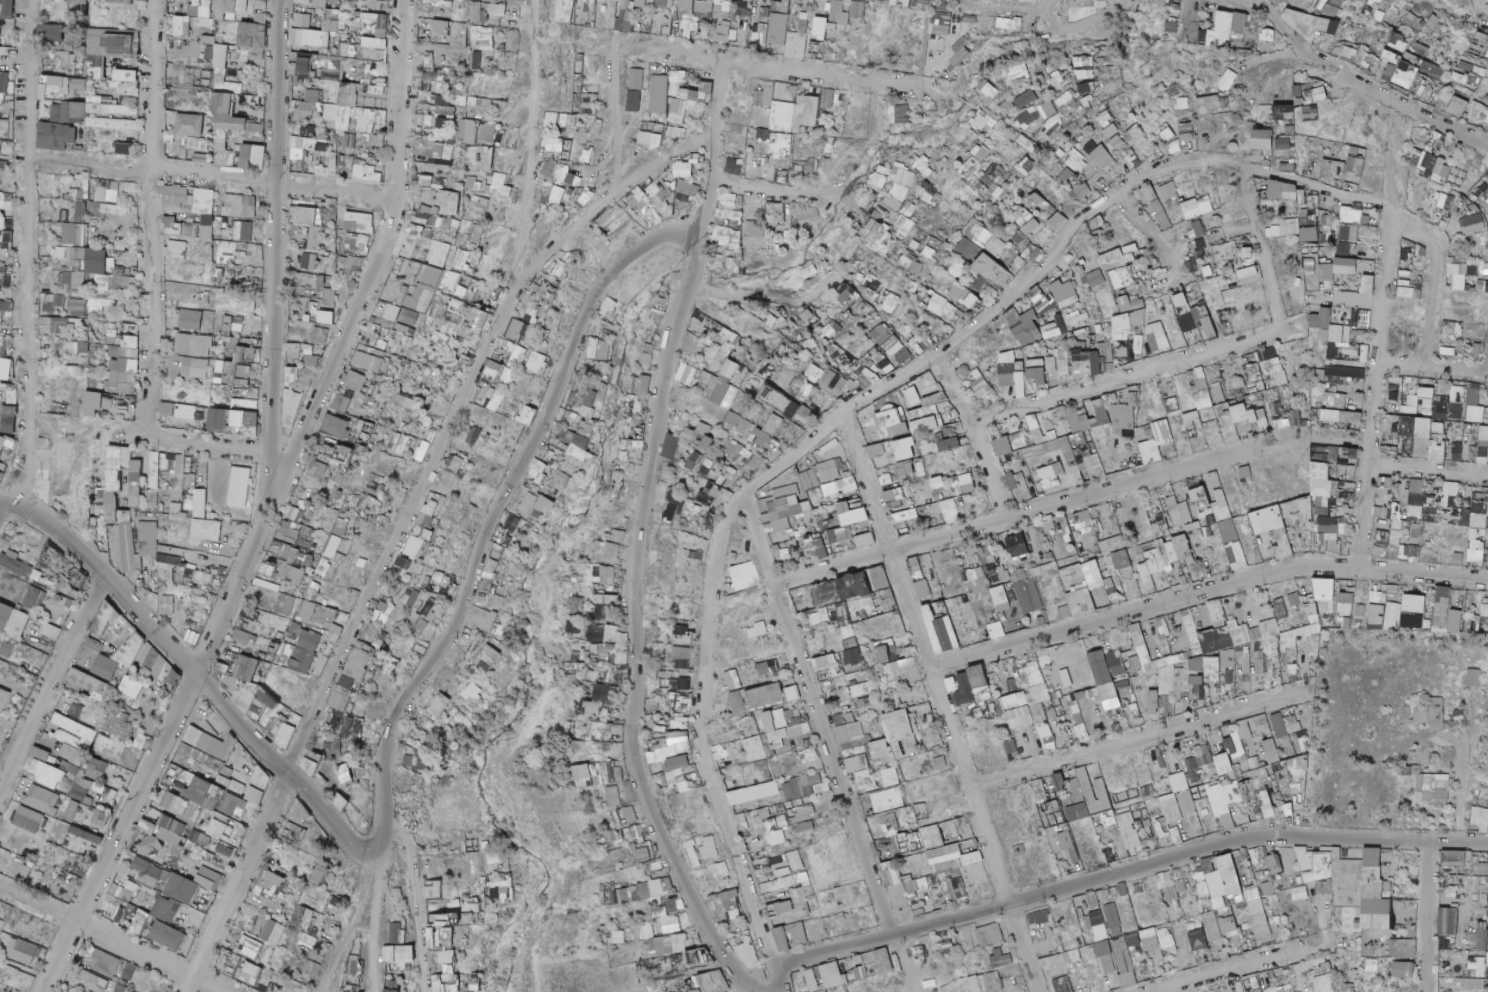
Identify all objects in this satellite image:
building: (642, 0)
building: (750, 0)
road: (1189, 0)
building: (122, 1)
building: (336, 1)
road: (1057, 1)
building: (1285, 2)
building: (1374, 2)
building: (446, 3)
building: (660, 3)
building: (322, 4)
building: (685, 4)
building: (1336, 4)
building: (372, 5)
building: (1395, 5)
building: (783, 6)
building: (200, 8)
building: (225, 8)
building: (703, 8)
building: (6, 9)
building: (497, 9)
building: (742, 10)
building: (859, 10)
building: (565, 11)
building: (480, 13)
building: (1377, 16)
building: (302, 17)
building: (624, 18)
building: (968, 19)
building: (1408, 19)
building: (833, 21)
building: (1300, 22)
building: (383, 23)
building: (804, 23)
building: (940, 23)
building: (1002, 23)
building: (1432, 23)
building: (346, 24)
building: (183, 26)
building: (654, 26)
building: (447, 27)
building: (1228, 27)
building: (684, 29)
building: (779, 29)
building: (53, 33)
building: (725, 33)
building: (1268, 34)
building: (463, 35)
building: (73, 36)
building: (485, 37)
building: (312, 38)
building: (255, 41)
building: (1397, 42)
building: (379, 43)
building: (123, 45)
building: (502, 47)
building: (1478, 49)
building: (1420, 50)
building: (209, 54)
building: (1350, 54)
building: (222, 56)
building: (479, 57)
building: (1409, 58)
building: (1082, 61)
building: (1389, 62)
building: (1369, 63)
building: (98, 67)
building: (303, 67)
building: (376, 68)
building: (1432, 71)
building: (1017, 73)
building: (1084, 74)
building: (1469, 75)
building: (128, 76)
building: (678, 77)
building: (1404, 78)
building: (635, 79)
building: (1226, 80)
building: (3, 82)
building: (578, 84)
building: (1086, 88)
building: (130, 89)
building: (989, 90)
building: (1425, 91)
building: (357, 92)
building: (1318, 92)
building: (1298, 94)
building: (1026, 99)
building: (694, 100)
building: (836, 100)
building: (633, 101)
building: (1087, 102)
building: (1181, 103)
building: (1207, 105)
building: (482, 107)
building: (811, 107)
building: (1458, 107)
building: (89, 109)
building: (498, 109)
building: (1047, 109)
building: (781, 111)
building: (1282, 111)
building: (452, 112)
building: (333, 113)
building: (1311, 113)
building: (1478, 113)
building: (229, 114)
building: (898, 115)
building: (369, 121)
building: (571, 121)
building: (981, 121)
building: (436, 122)
building: (112, 124)
building: (191, 125)
building: (655, 128)
building: (308, 132)
building: (1165, 132)
building: (1187, 132)
building: (256, 133)
building: (483, 133)
building: (108, 134)
building: (1136, 134)
building: (57, 136)
building: (350, 140)
building: (383, 140)
building: (656, 141)
building: (1272, 141)
building: (764, 142)
building: (1116, 142)
building: (197, 143)
building: (782, 144)
building: (555, 146)
building: (1, 147)
building: (224, 149)
building: (125, 150)
building: (438, 150)
building: (253, 152)
building: (980, 153)
building: (1098, 155)
building: (585, 156)
building: (1074, 160)
building: (345, 163)
building: (731, 166)
building: (804, 166)
building: (922, 167)
building: (429, 168)
building: (969, 168)
building: (370, 172)
building: (560, 175)
building: (994, 175)
building: (876, 176)
building: (1066, 176)
building: (781, 177)
building: (438, 182)
building: (477, 184)
building: (501, 185)
building: (548, 186)
building: (896, 187)
building: (667, 188)
building: (83, 191)
building: (107, 191)
building: (576, 192)
building: (5, 202)
building: (454, 203)
building: (484, 205)
building: (239, 206)
building: (193, 207)
building: (729, 208)
building: (111, 209)
building: (81, 212)
building: (330, 215)
building: (302, 217)
building: (364, 223)
building: (176, 229)
building: (7, 230)
building: (192, 230)
building: (241, 231)
building: (74, 235)
building: (316, 239)
building: (361, 242)
road: (276, 247)
building: (226, 249)
building: (80, 253)
building: (100, 261)
building: (2, 274)

